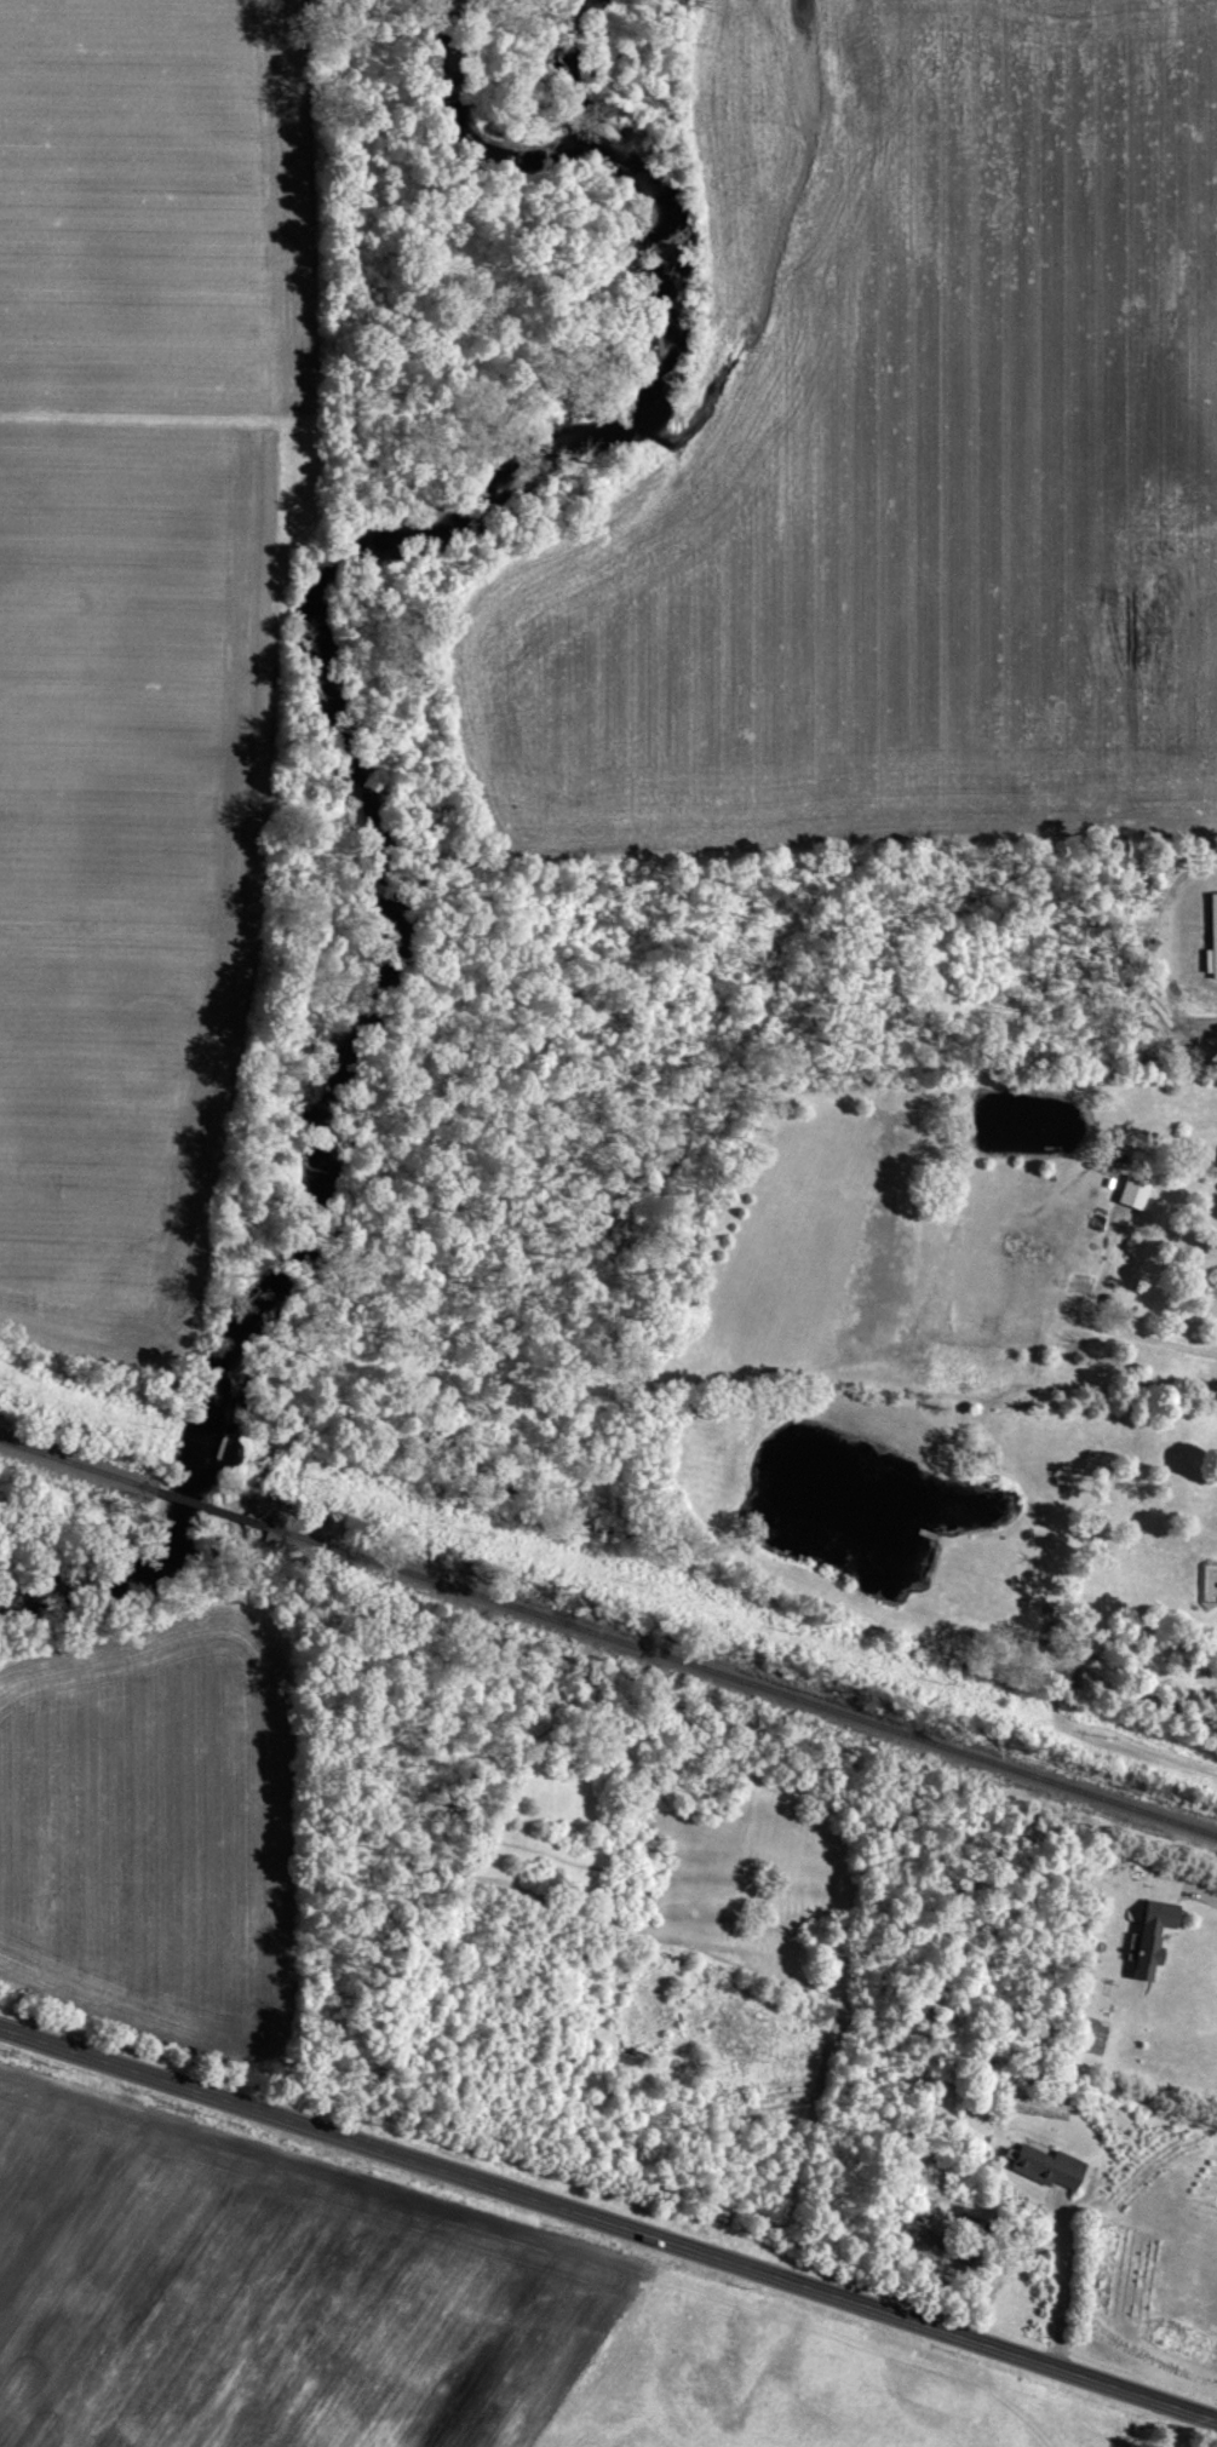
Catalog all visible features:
building: (1211, 938)
railway: (75, 1463)
railway: (207, 1506)
building: (997, 1645)
railway: (740, 1679)
building: (1067, 1682)
road: (1186, 1889)
building: (1149, 1935)
building: (769, 2095)
building: (1037, 2165)
road: (608, 2221)
building: (976, 2236)
road: (1064, 2273)

